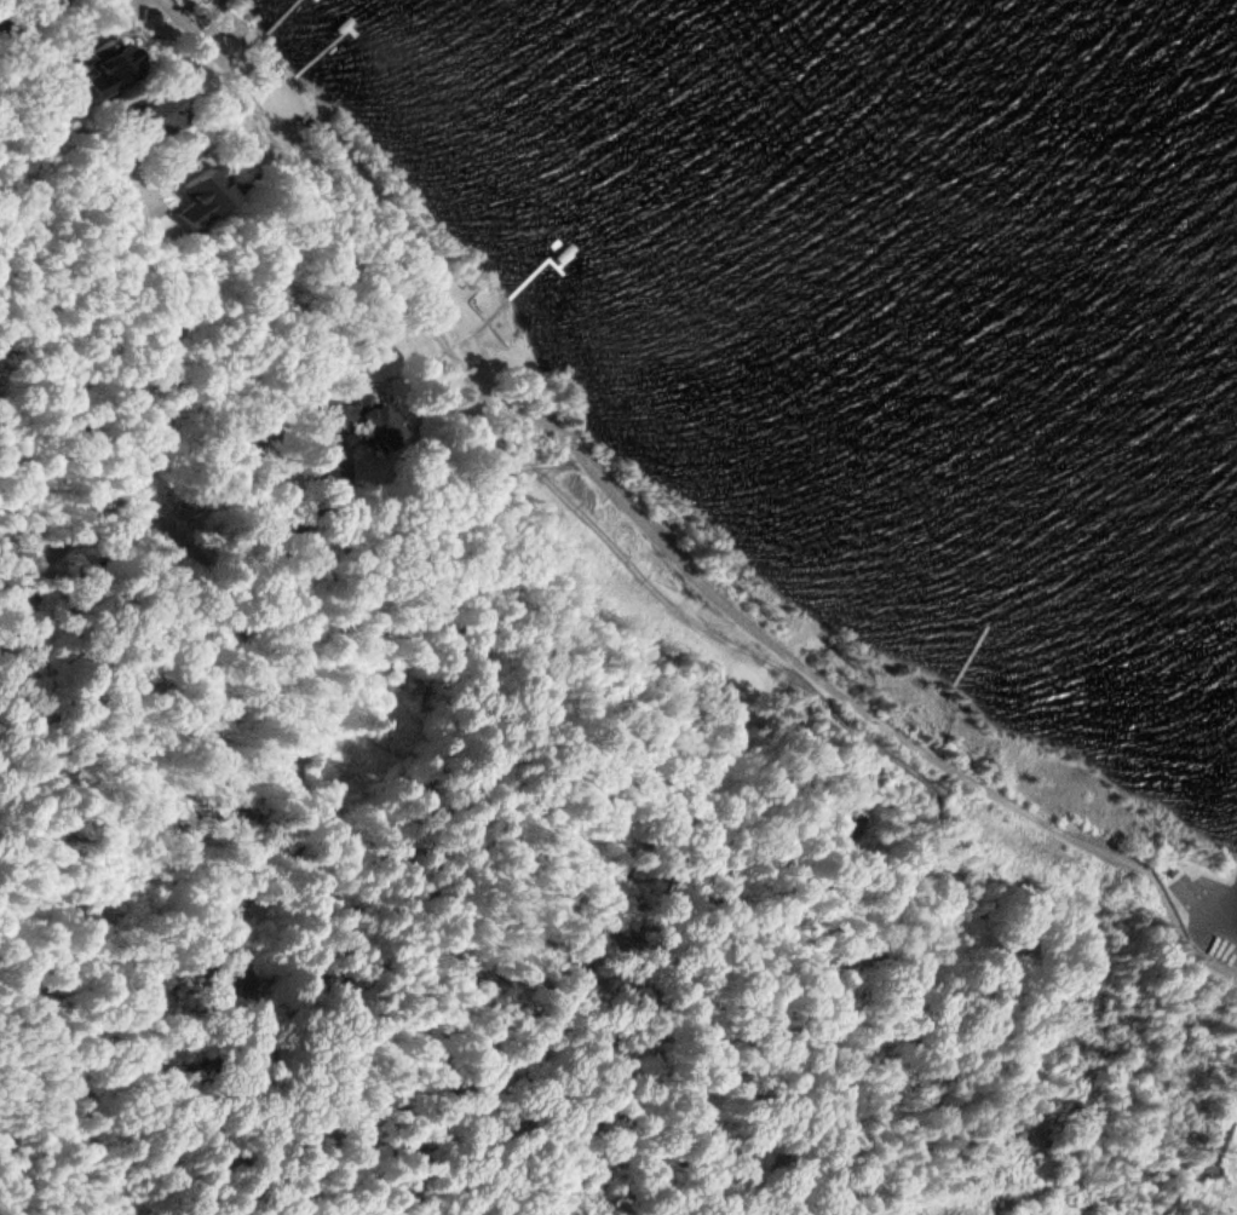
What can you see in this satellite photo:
road: (166, 277)
road: (635, 517)
road: (36, 574)
building: (1170, 871)
road: (1206, 871)
road: (1178, 899)
road: (1210, 961)

